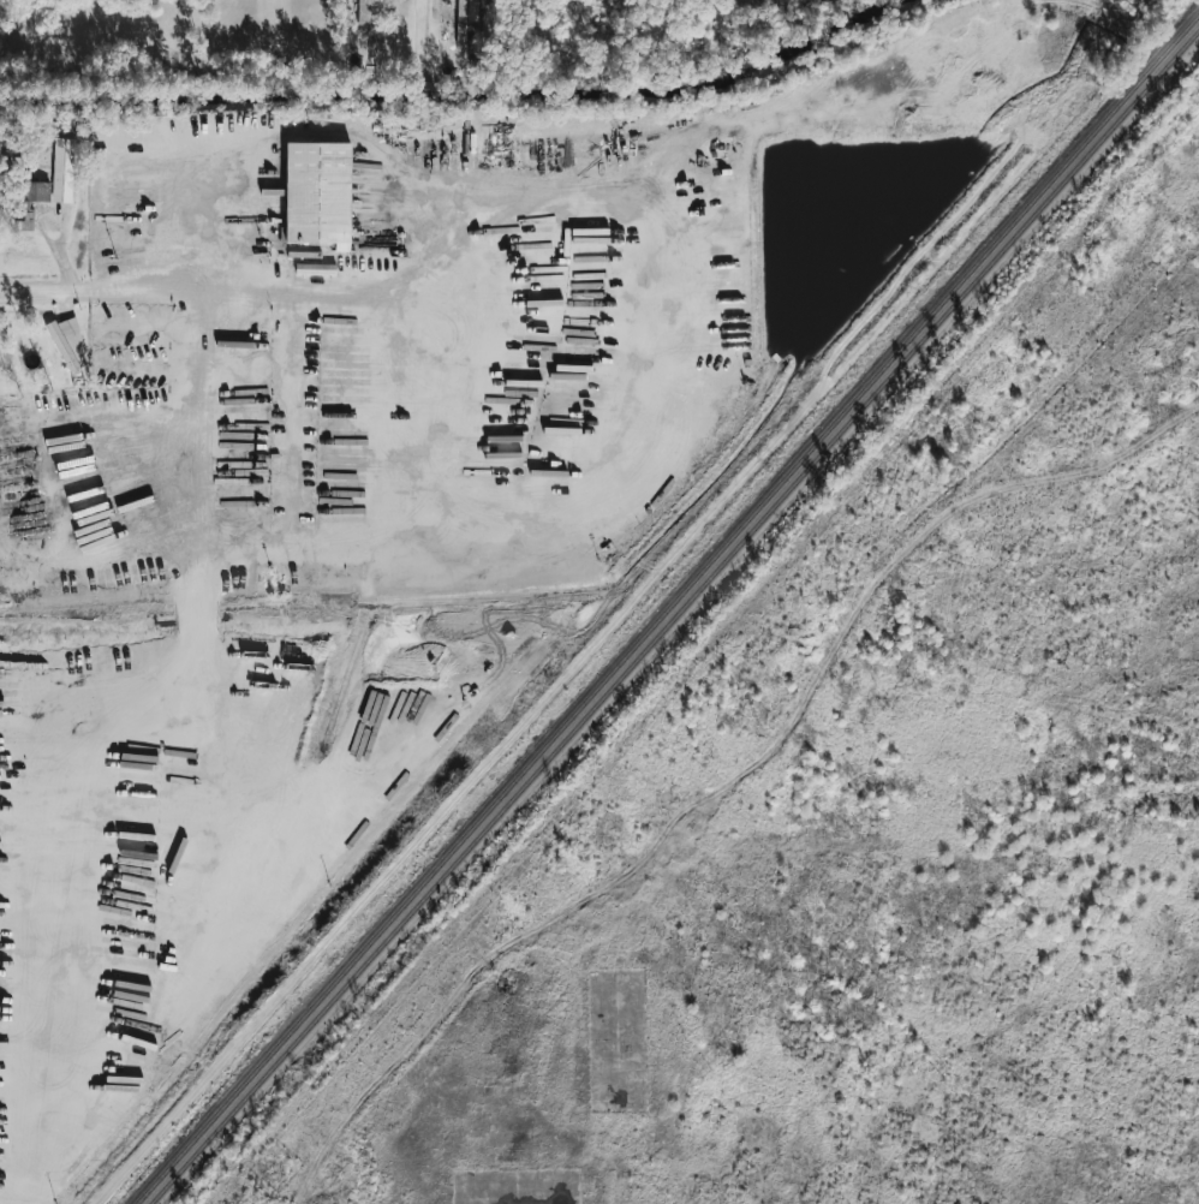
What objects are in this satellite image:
building: (364, 12)
building: (461, 22)
building: (62, 171)
building: (317, 193)
building: (30, 202)
road: (142, 291)
building: (68, 345)
railway: (667, 609)
railway: (674, 618)

